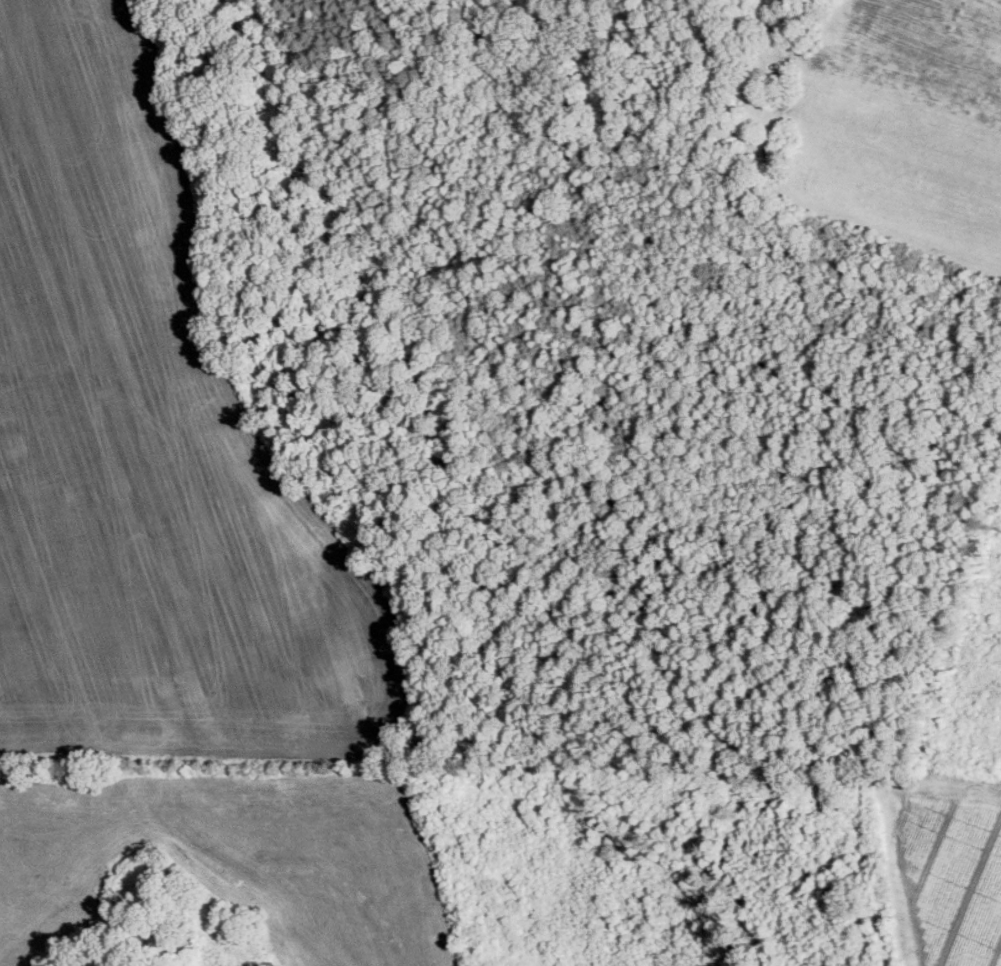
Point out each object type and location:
crop: (885, 124)
crop: (151, 446)

